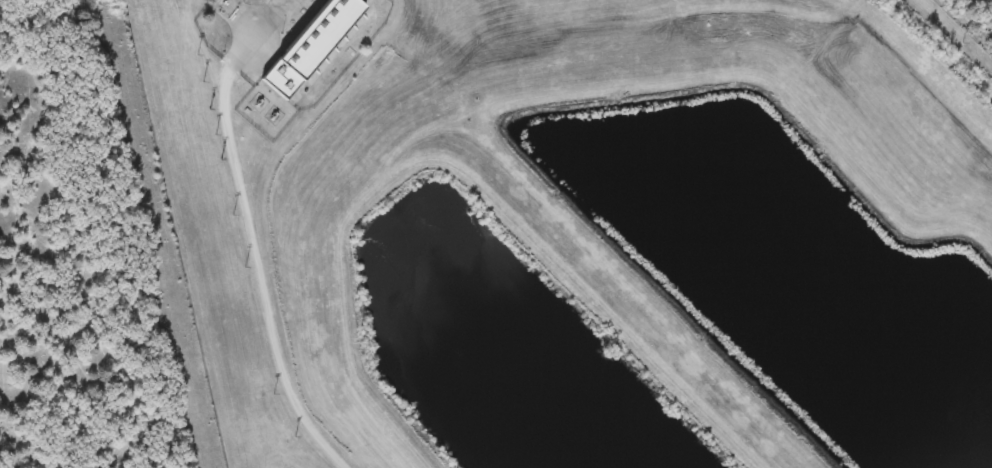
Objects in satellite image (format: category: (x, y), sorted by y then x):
building: (310, 49)
road: (273, 313)

